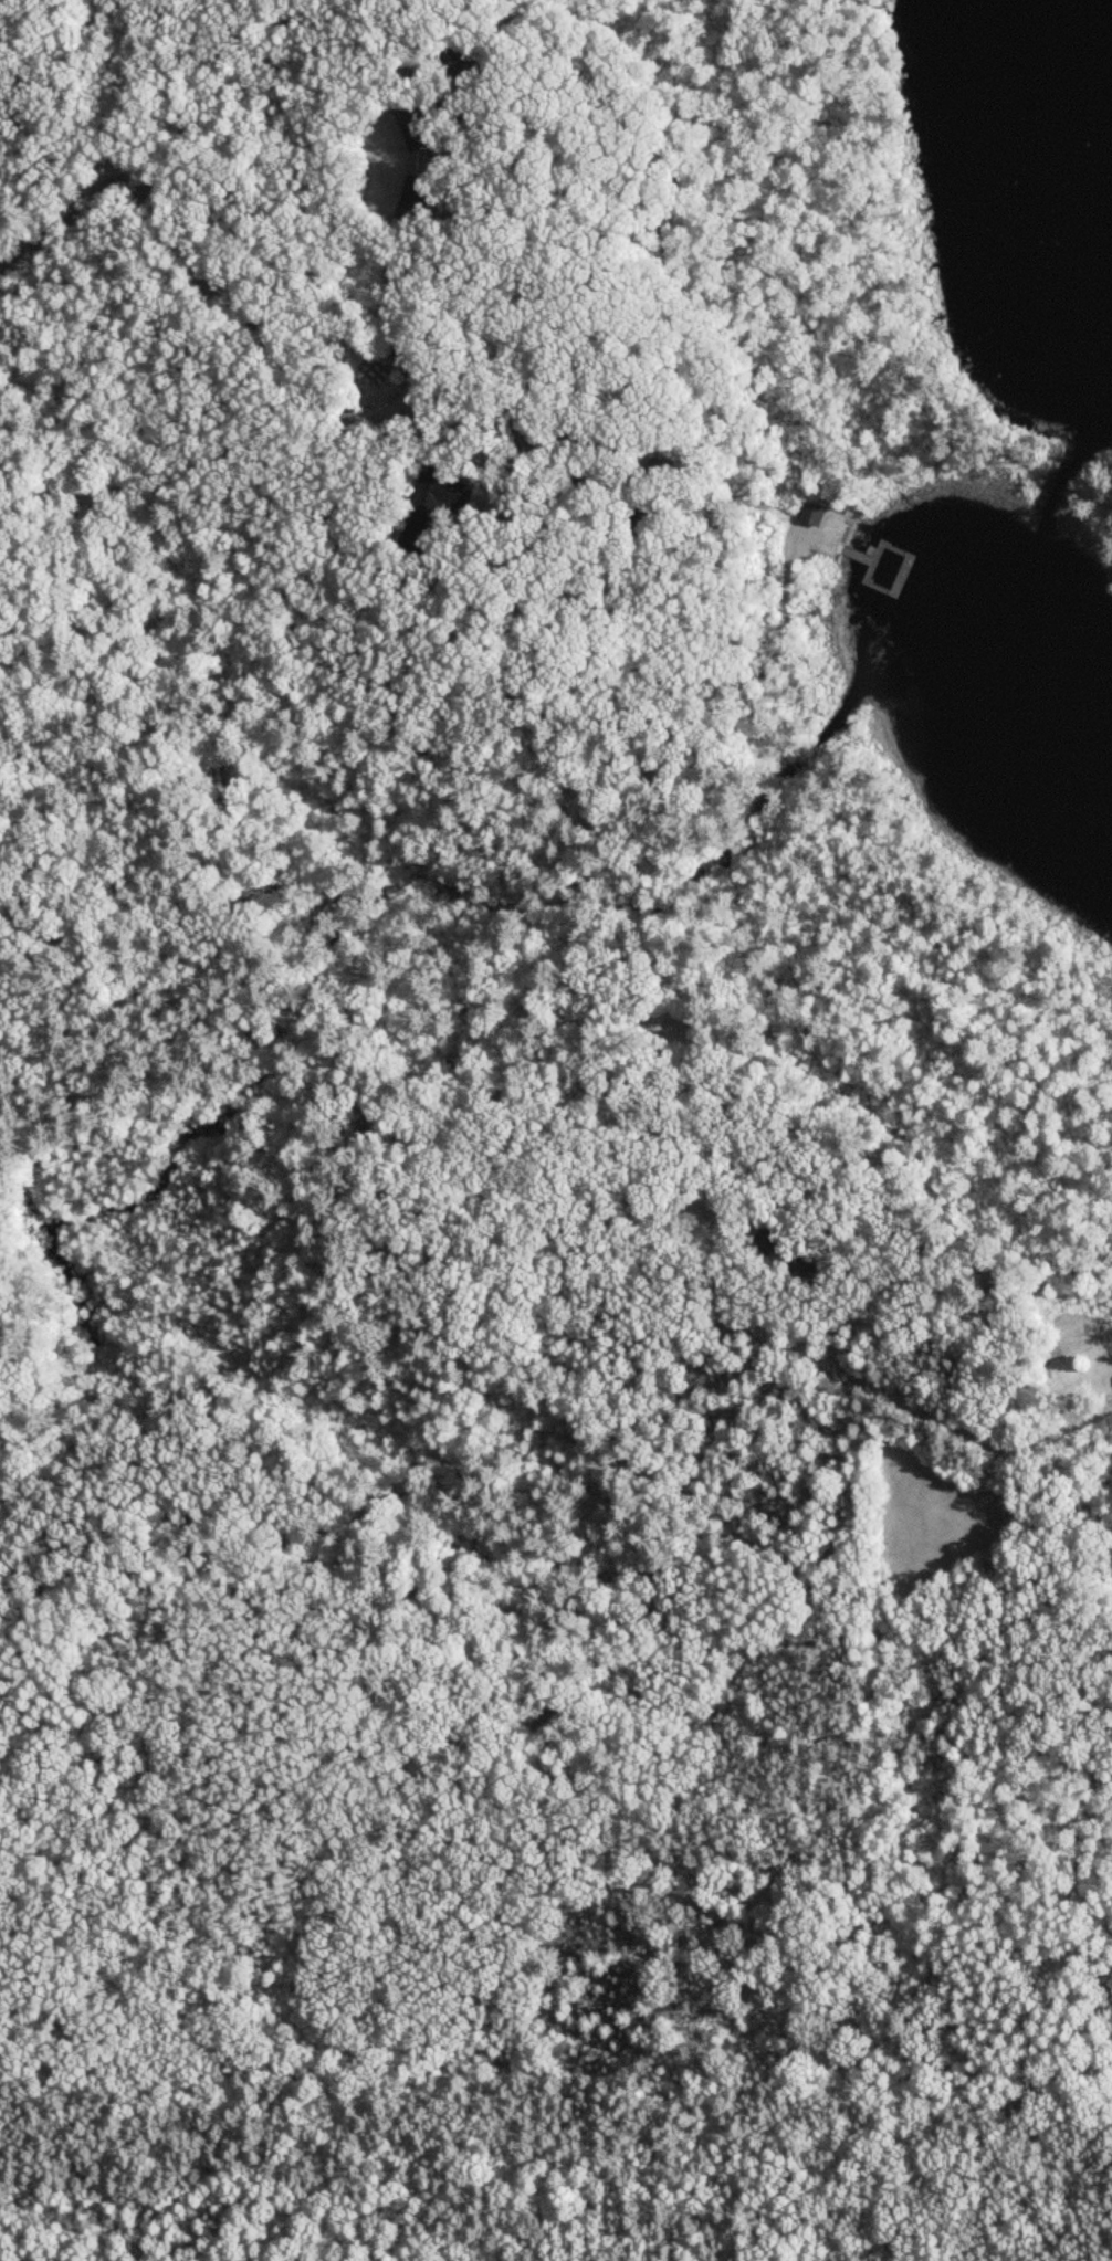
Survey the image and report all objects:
road: (411, 70)
building: (416, 126)
building: (415, 200)
road: (536, 280)
road: (254, 315)
road: (532, 465)
road: (630, 465)
building: (663, 471)
road: (211, 494)
building: (443, 494)
building: (669, 501)
building: (816, 515)
building: (415, 541)
road: (639, 672)
road: (557, 822)
road: (130, 1102)
road: (633, 1127)
road: (577, 1174)
building: (767, 1242)
road: (811, 1619)
road: (909, 1925)
road: (775, 1941)
road: (332, 2001)
road: (415, 2169)

